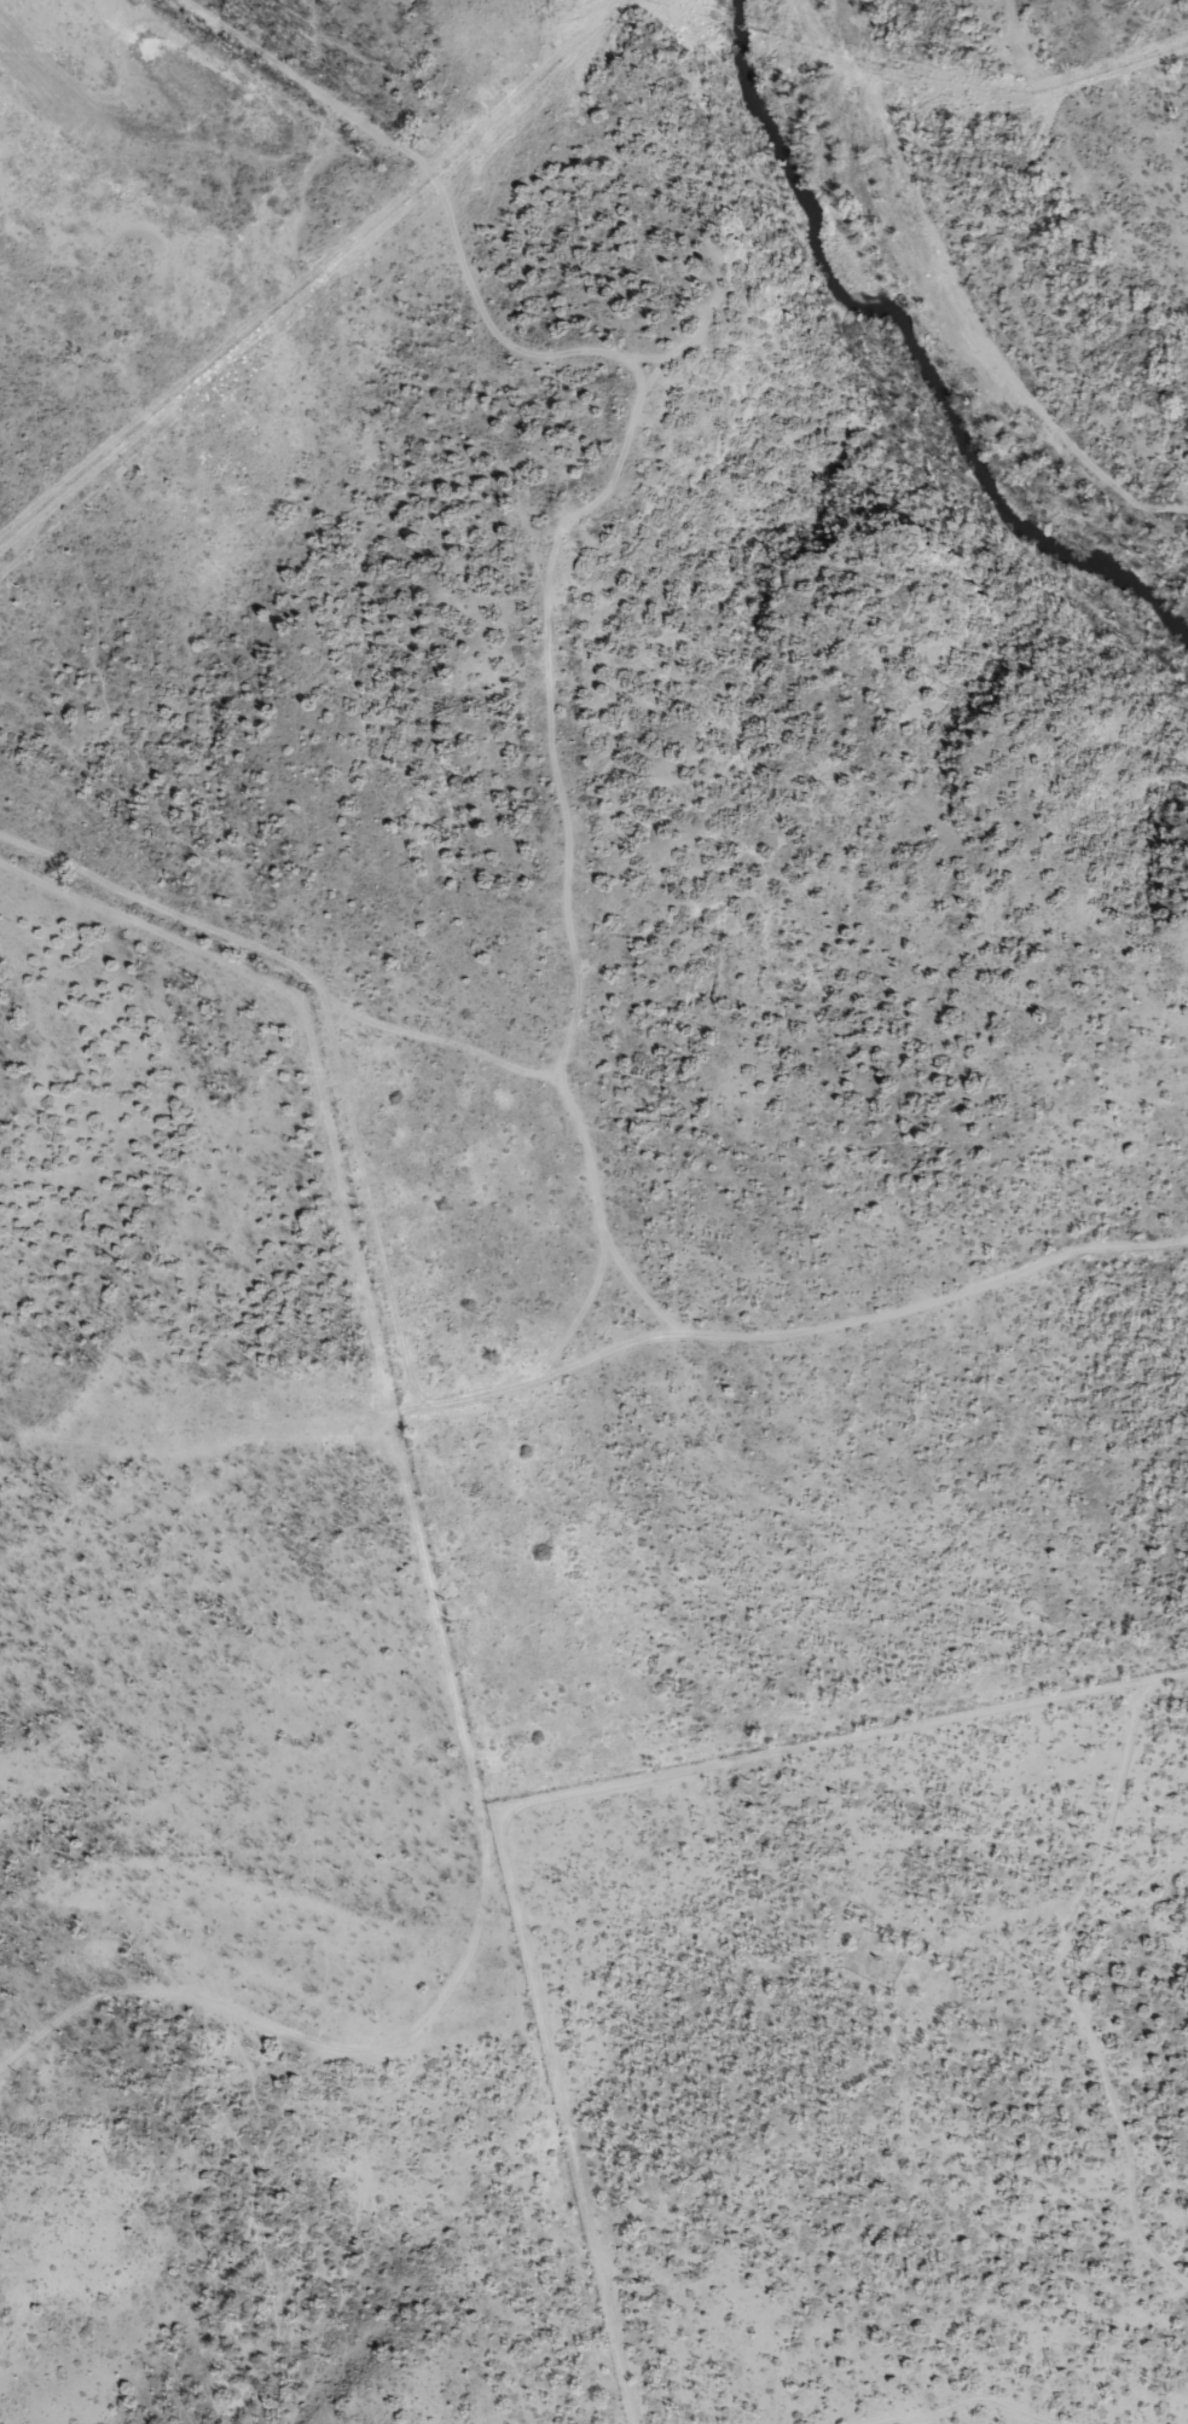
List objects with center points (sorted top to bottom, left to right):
river: (915, 352)

